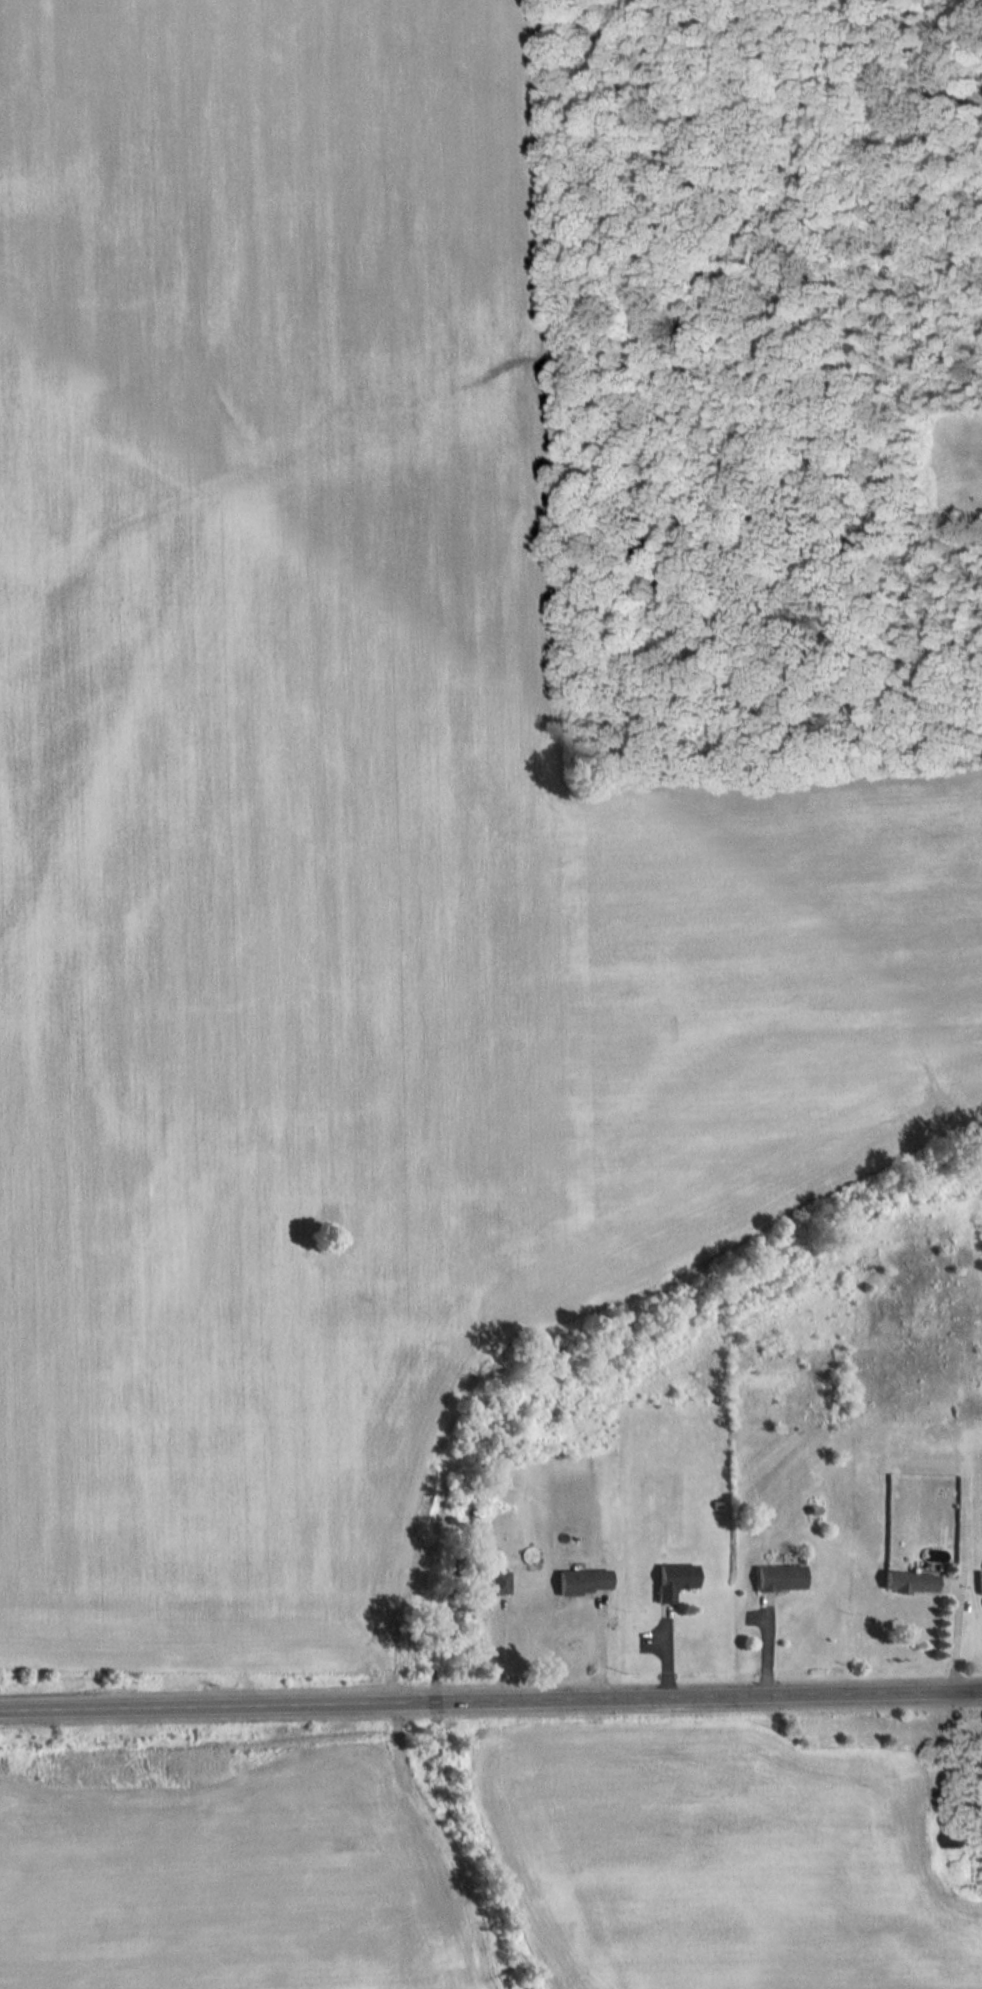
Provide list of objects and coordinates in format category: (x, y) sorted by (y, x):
building: (780, 1577)
building: (675, 1579)
building: (585, 1581)
building: (502, 1582)
building: (909, 1582)
road: (958, 1624)
road: (491, 1699)
building: (956, 1833)

